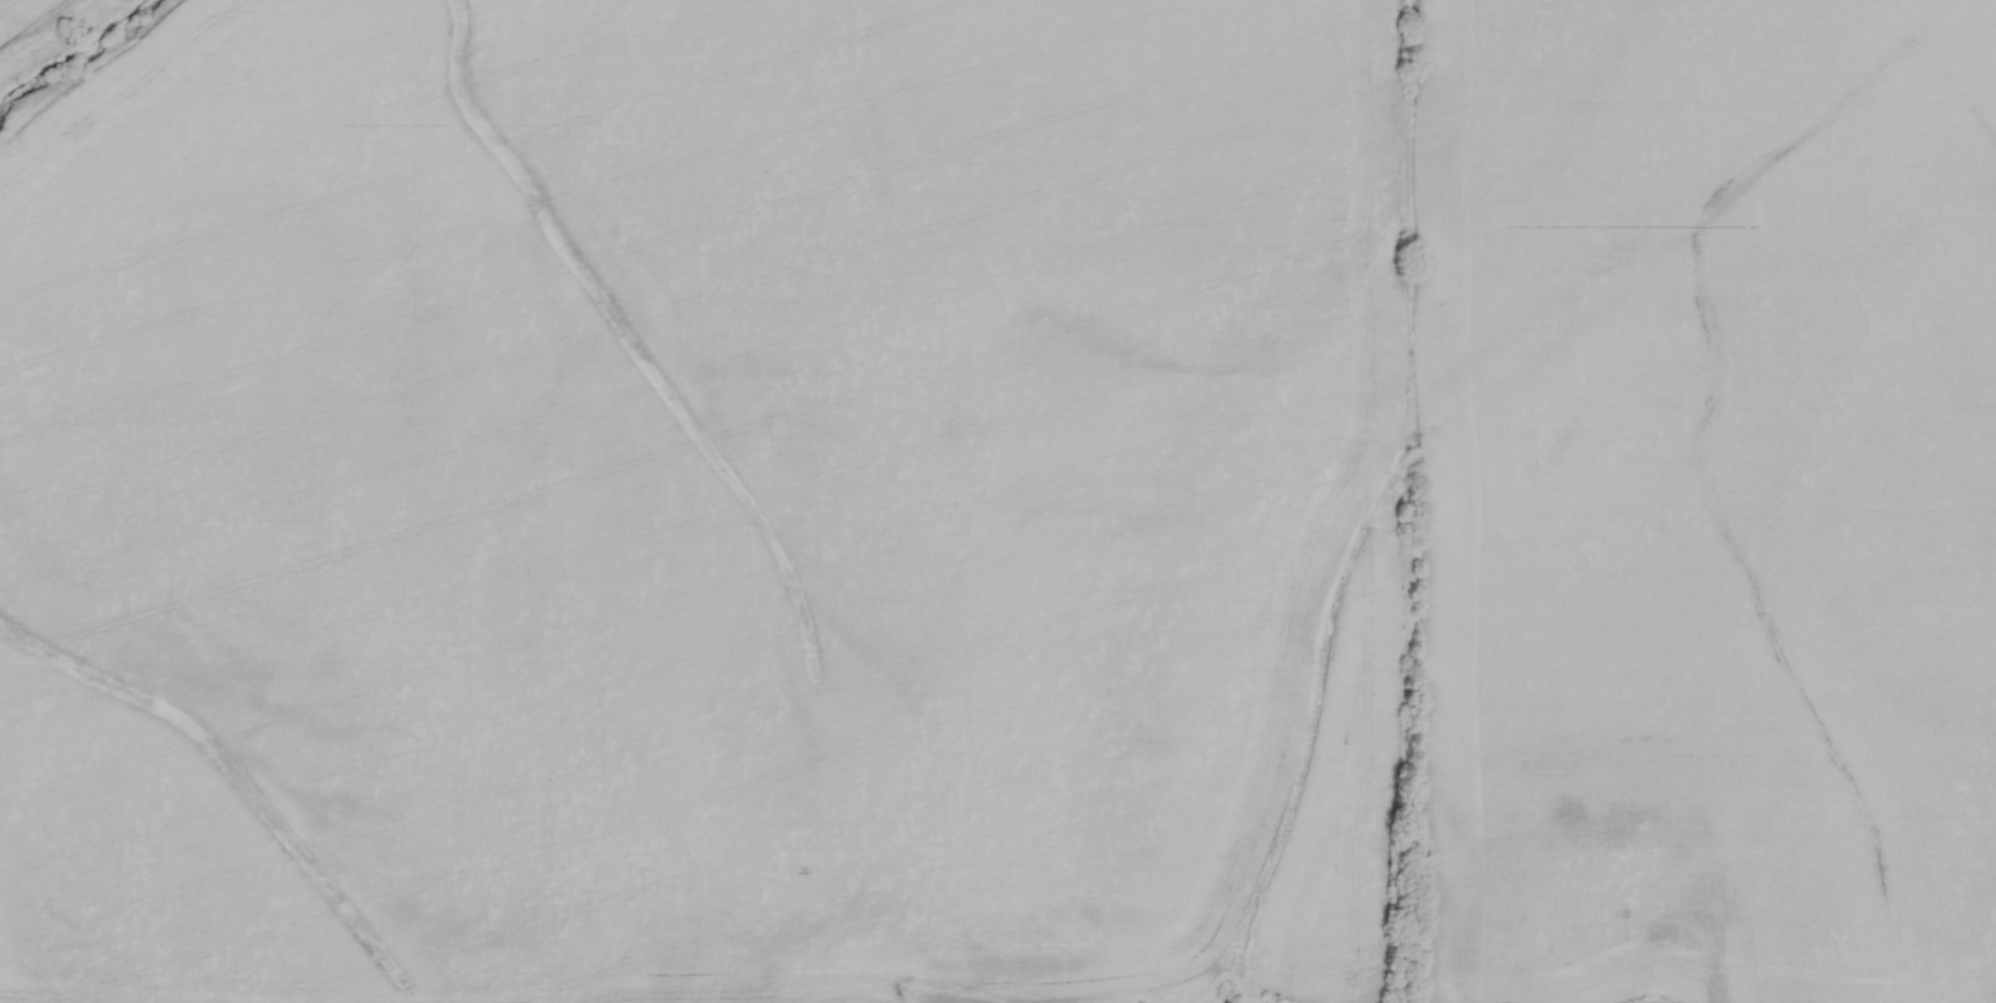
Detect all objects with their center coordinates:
crop: (1719, 501)

